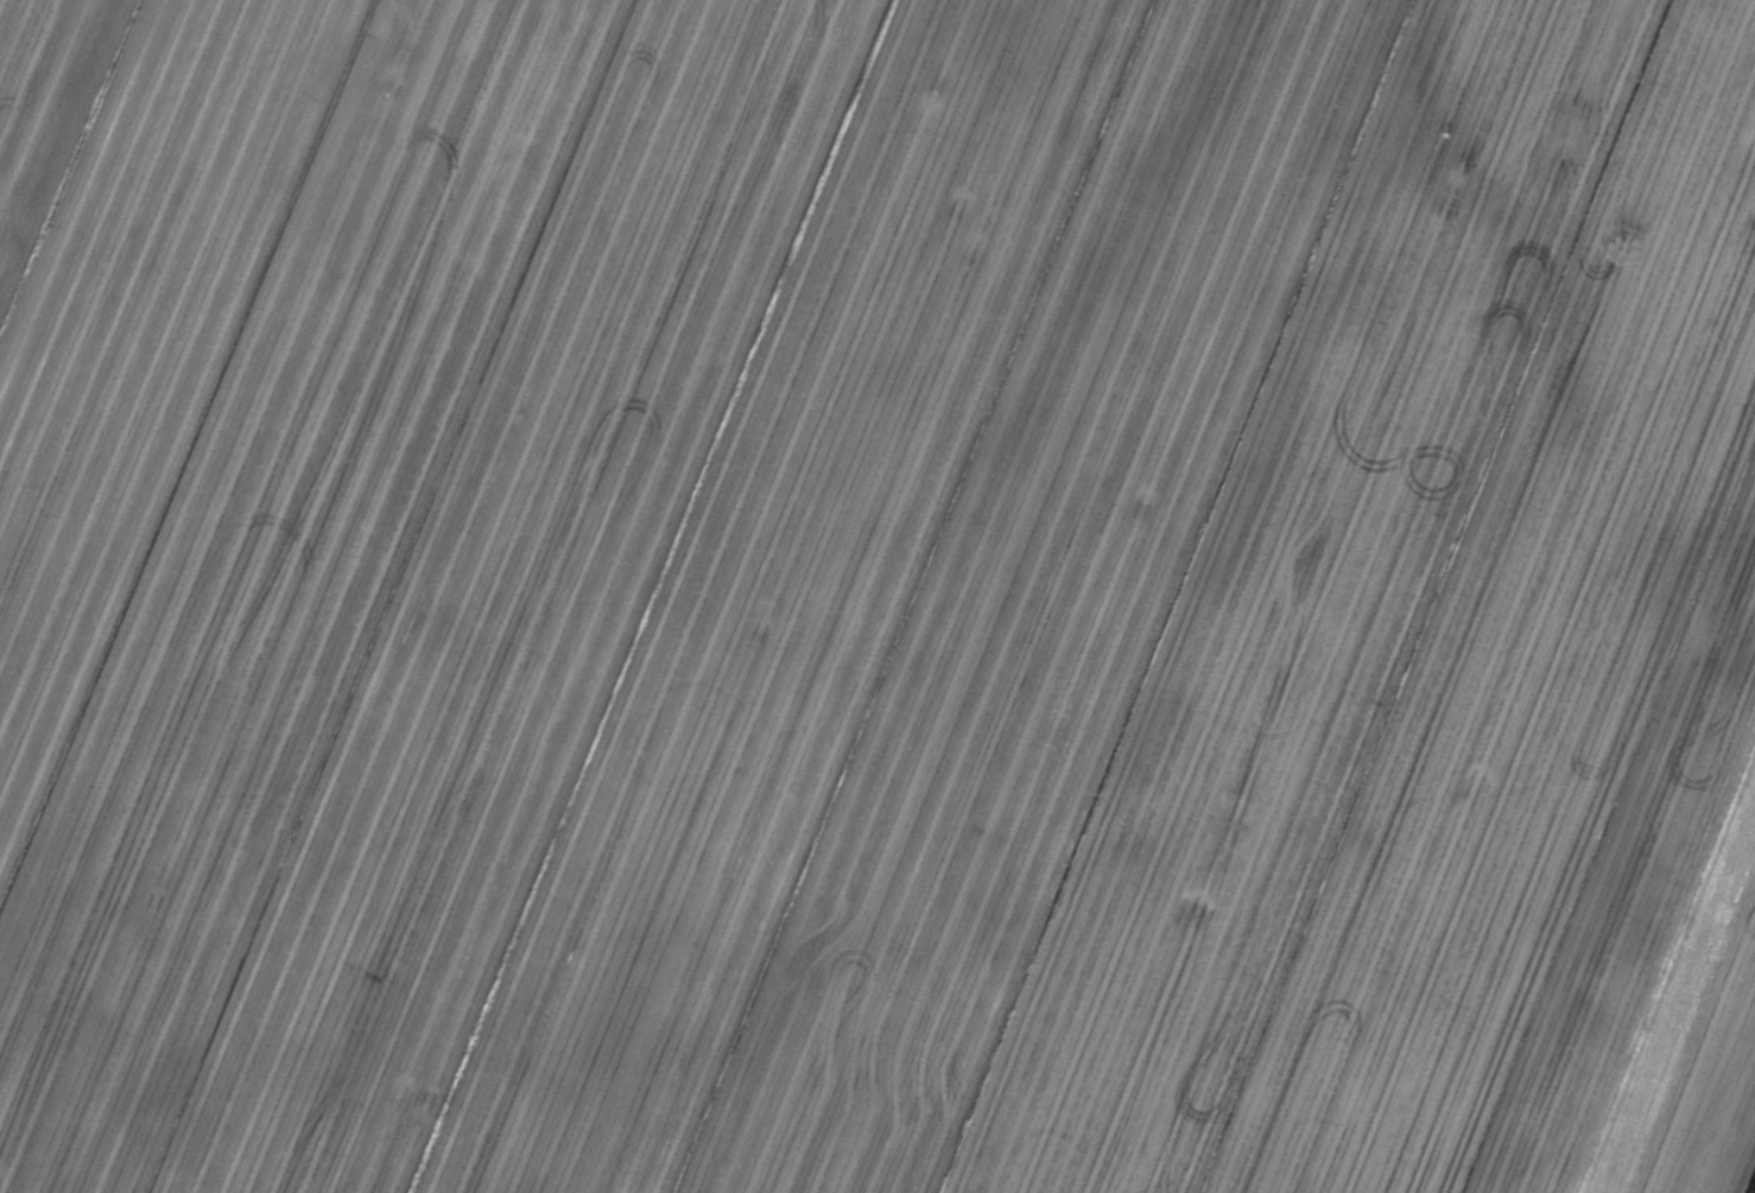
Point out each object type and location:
crop: (877, 596)

